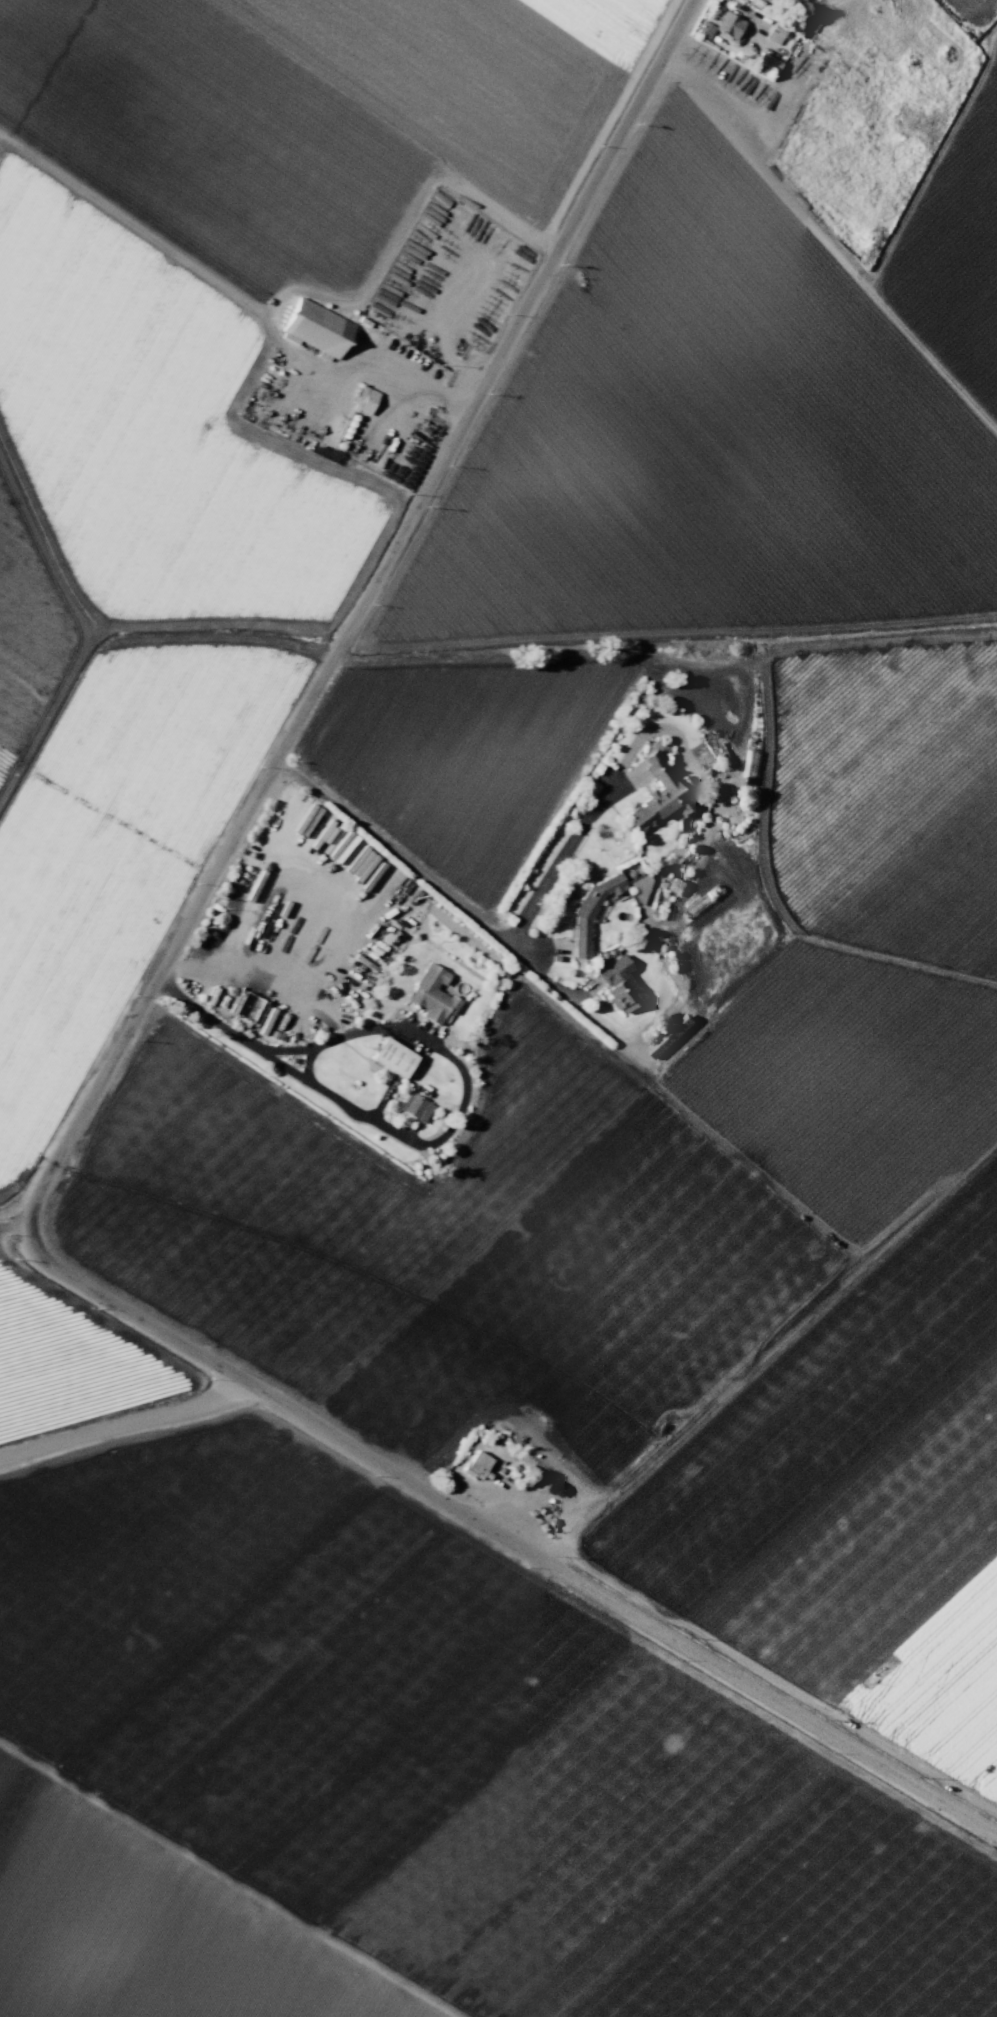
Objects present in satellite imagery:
building: (814, 19)
building: (722, 26)
building: (776, 34)
building: (317, 327)
road: (238, 393)
building: (365, 400)
building: (750, 764)
building: (658, 795)
building: (676, 886)
building: (640, 888)
building: (590, 912)
road: (467, 915)
building: (620, 984)
building: (431, 995)
crop: (861, 1015)
building: (671, 1036)
building: (393, 1057)
building: (415, 1107)
road: (80, 1126)
road: (123, 1422)
building: (477, 1464)

